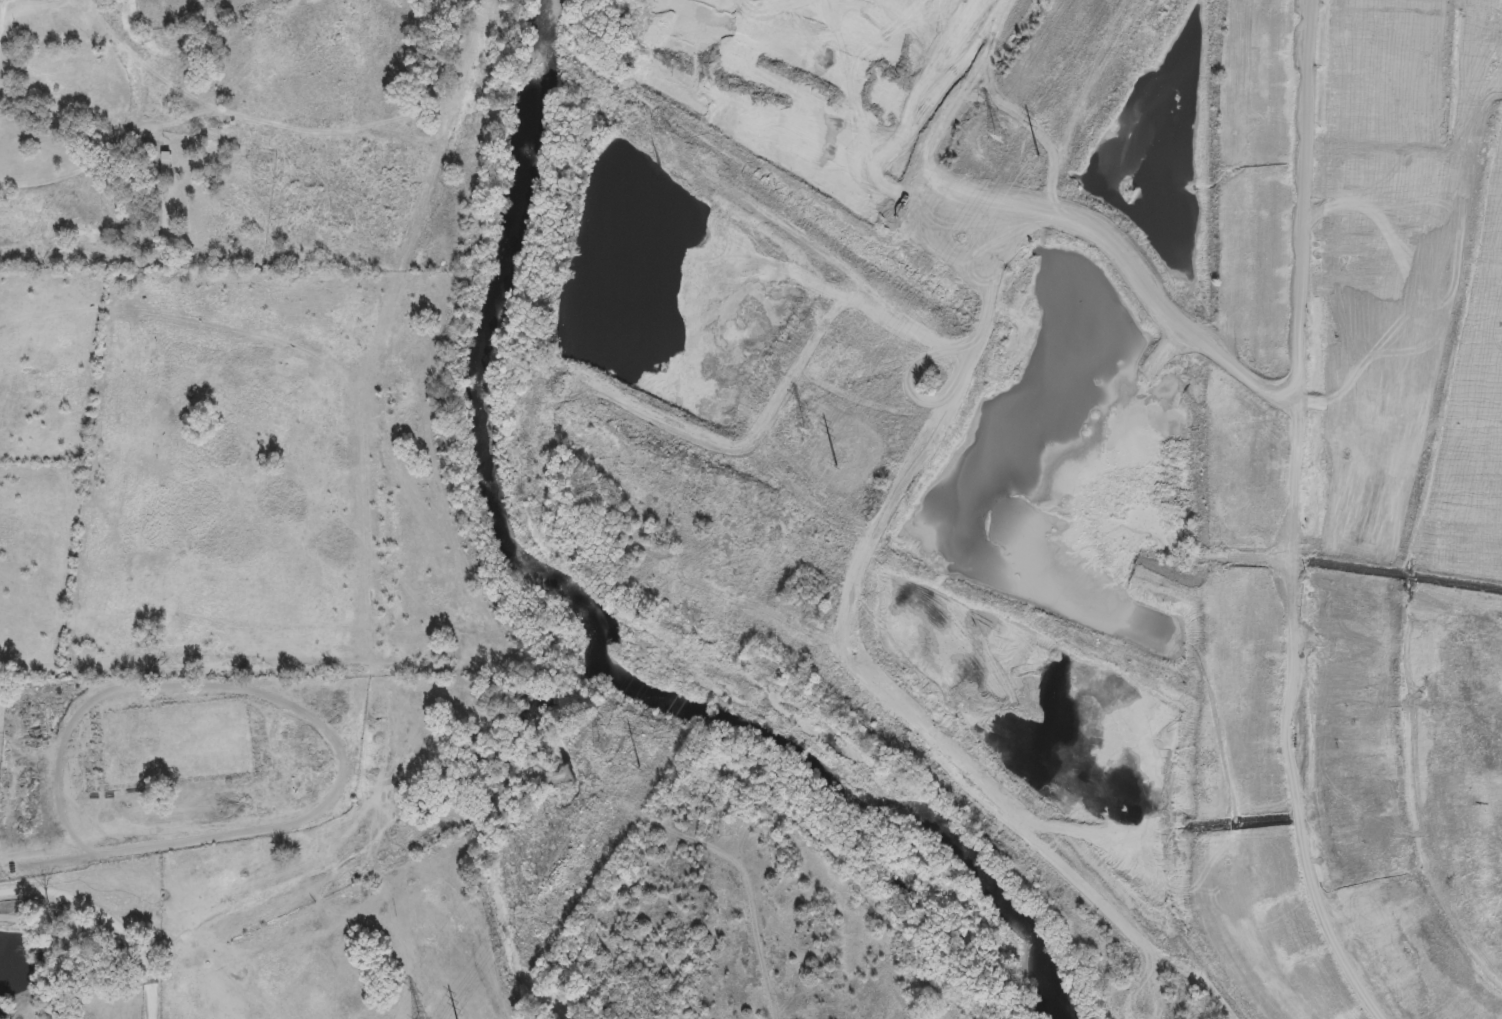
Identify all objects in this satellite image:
road: (7, 44)
power tower: (997, 135)
power tower: (1039, 155)
road: (63, 177)
power tower: (805, 430)
landfill: (1086, 441)
power tower: (837, 464)
building: (1431, 507)
power tower: (603, 742)
power tower: (639, 767)
road: (106, 920)

